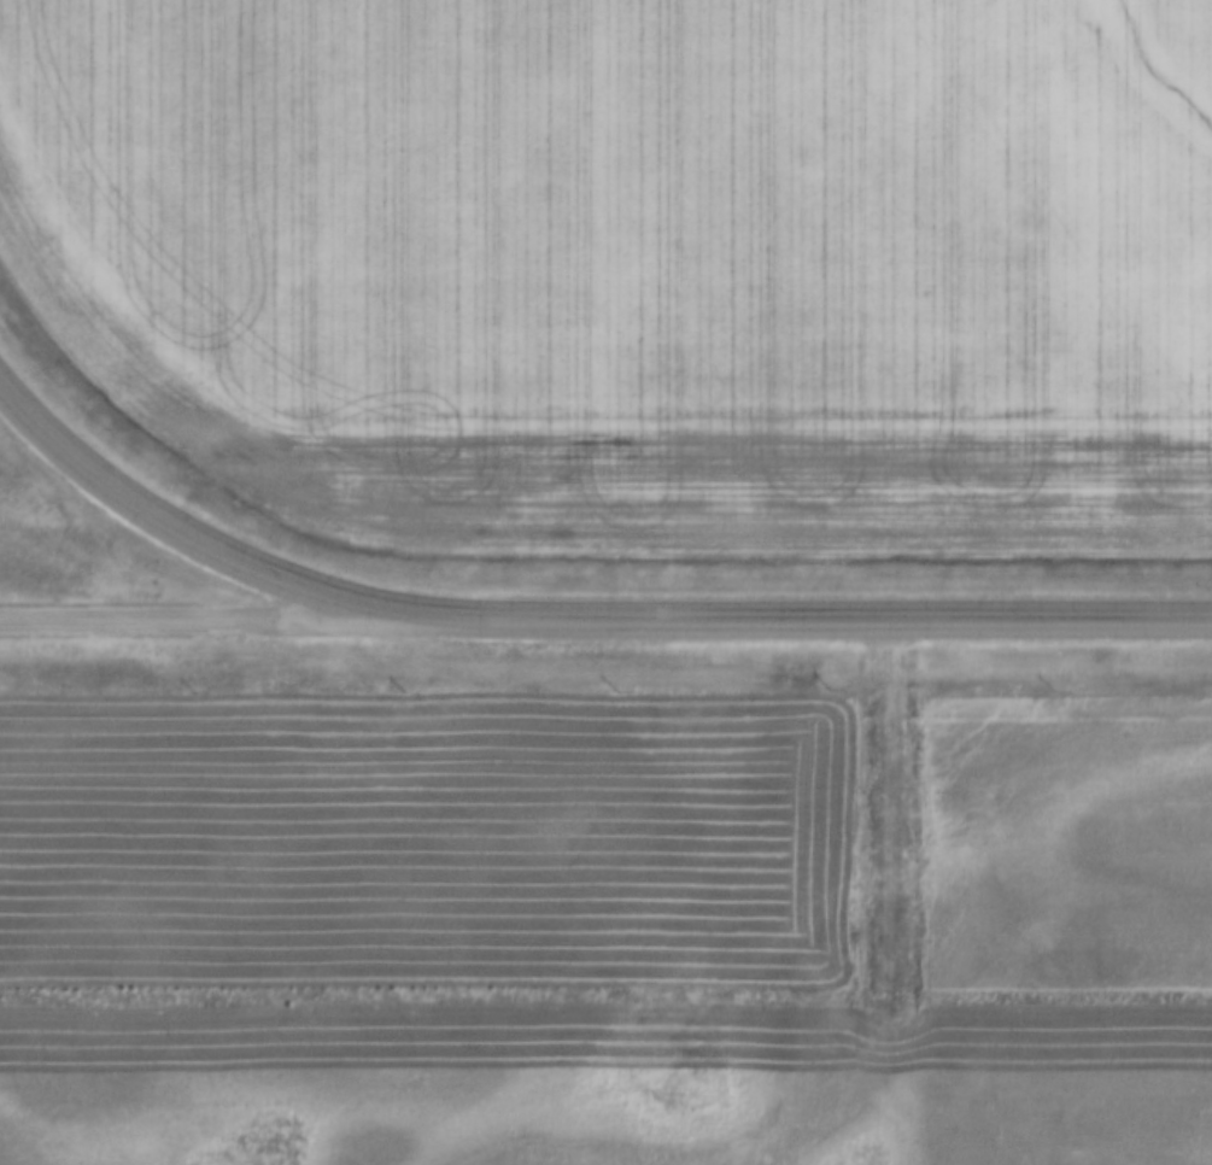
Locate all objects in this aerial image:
road: (172, 534)
road: (797, 624)
road: (191, 625)

